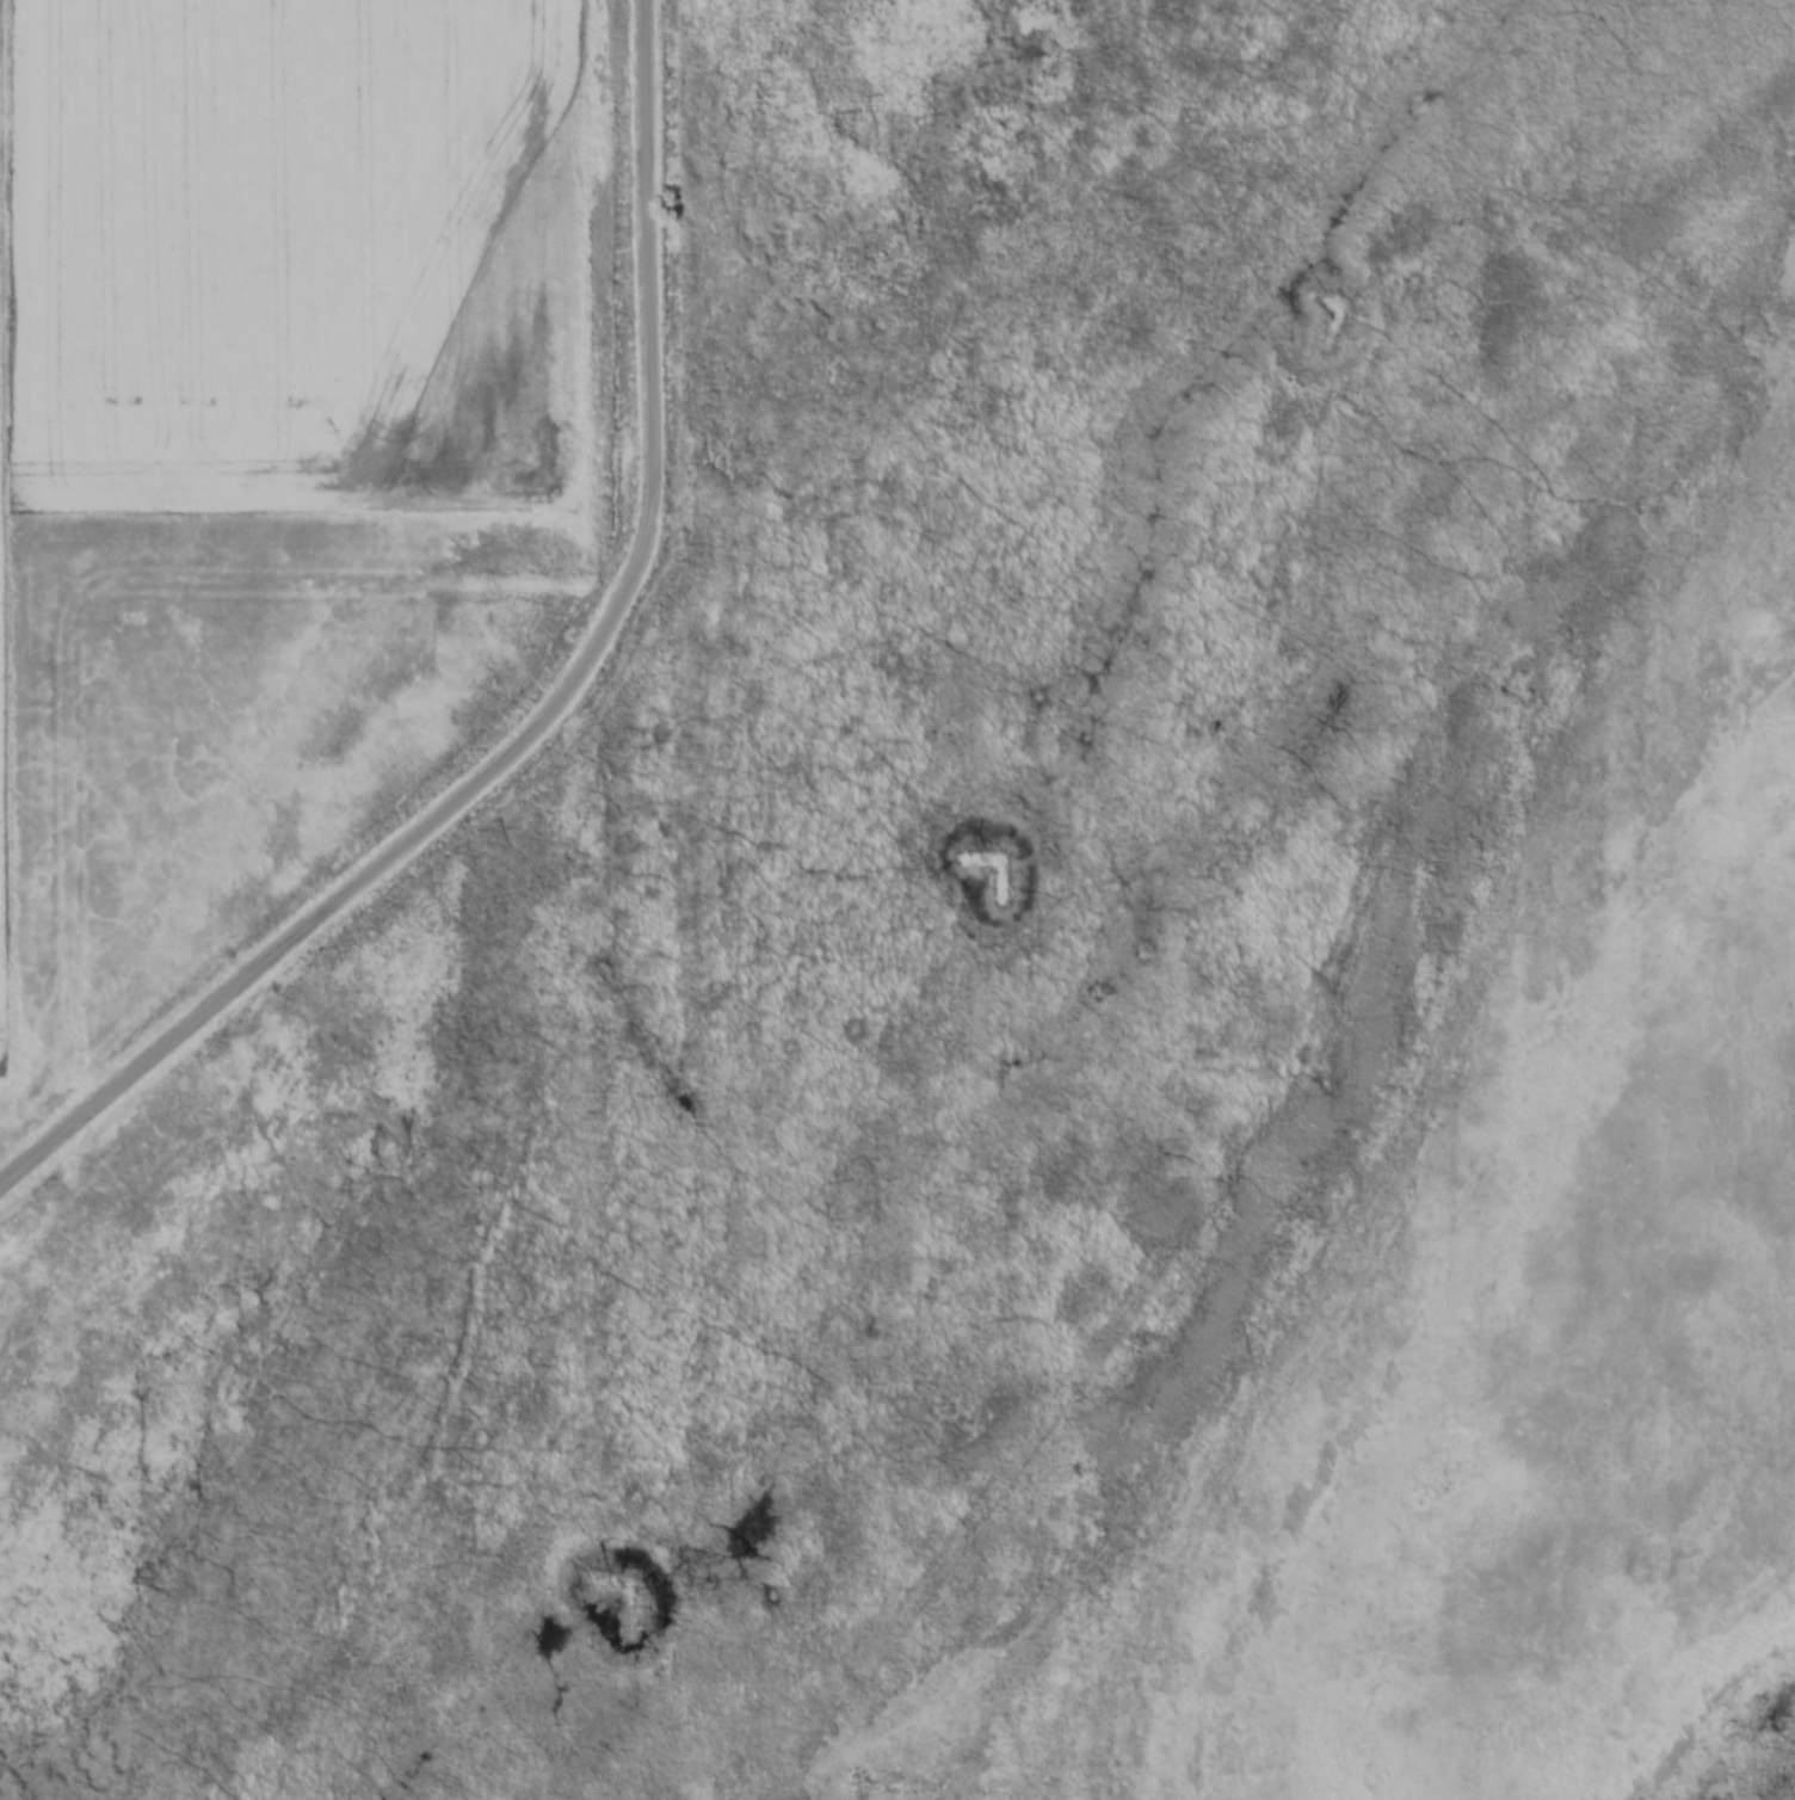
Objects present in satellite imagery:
road: (541, 699)

